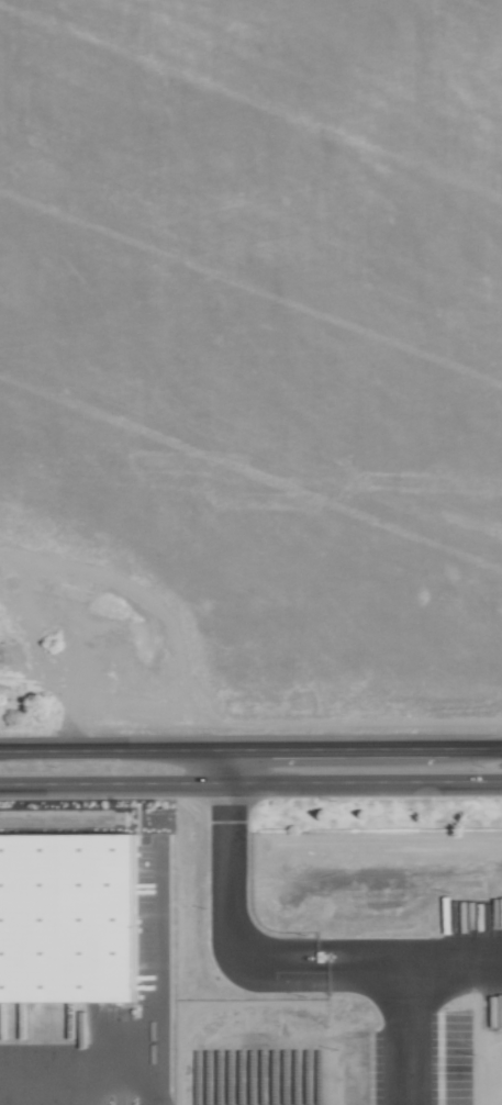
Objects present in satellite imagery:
building: (16, 655)
road: (250, 750)
road: (250, 782)
road: (223, 886)
building: (69, 915)
road: (320, 947)
road: (373, 956)
road: (322, 968)
road: (405, 981)
road: (144, 1026)
road: (144, 1087)

